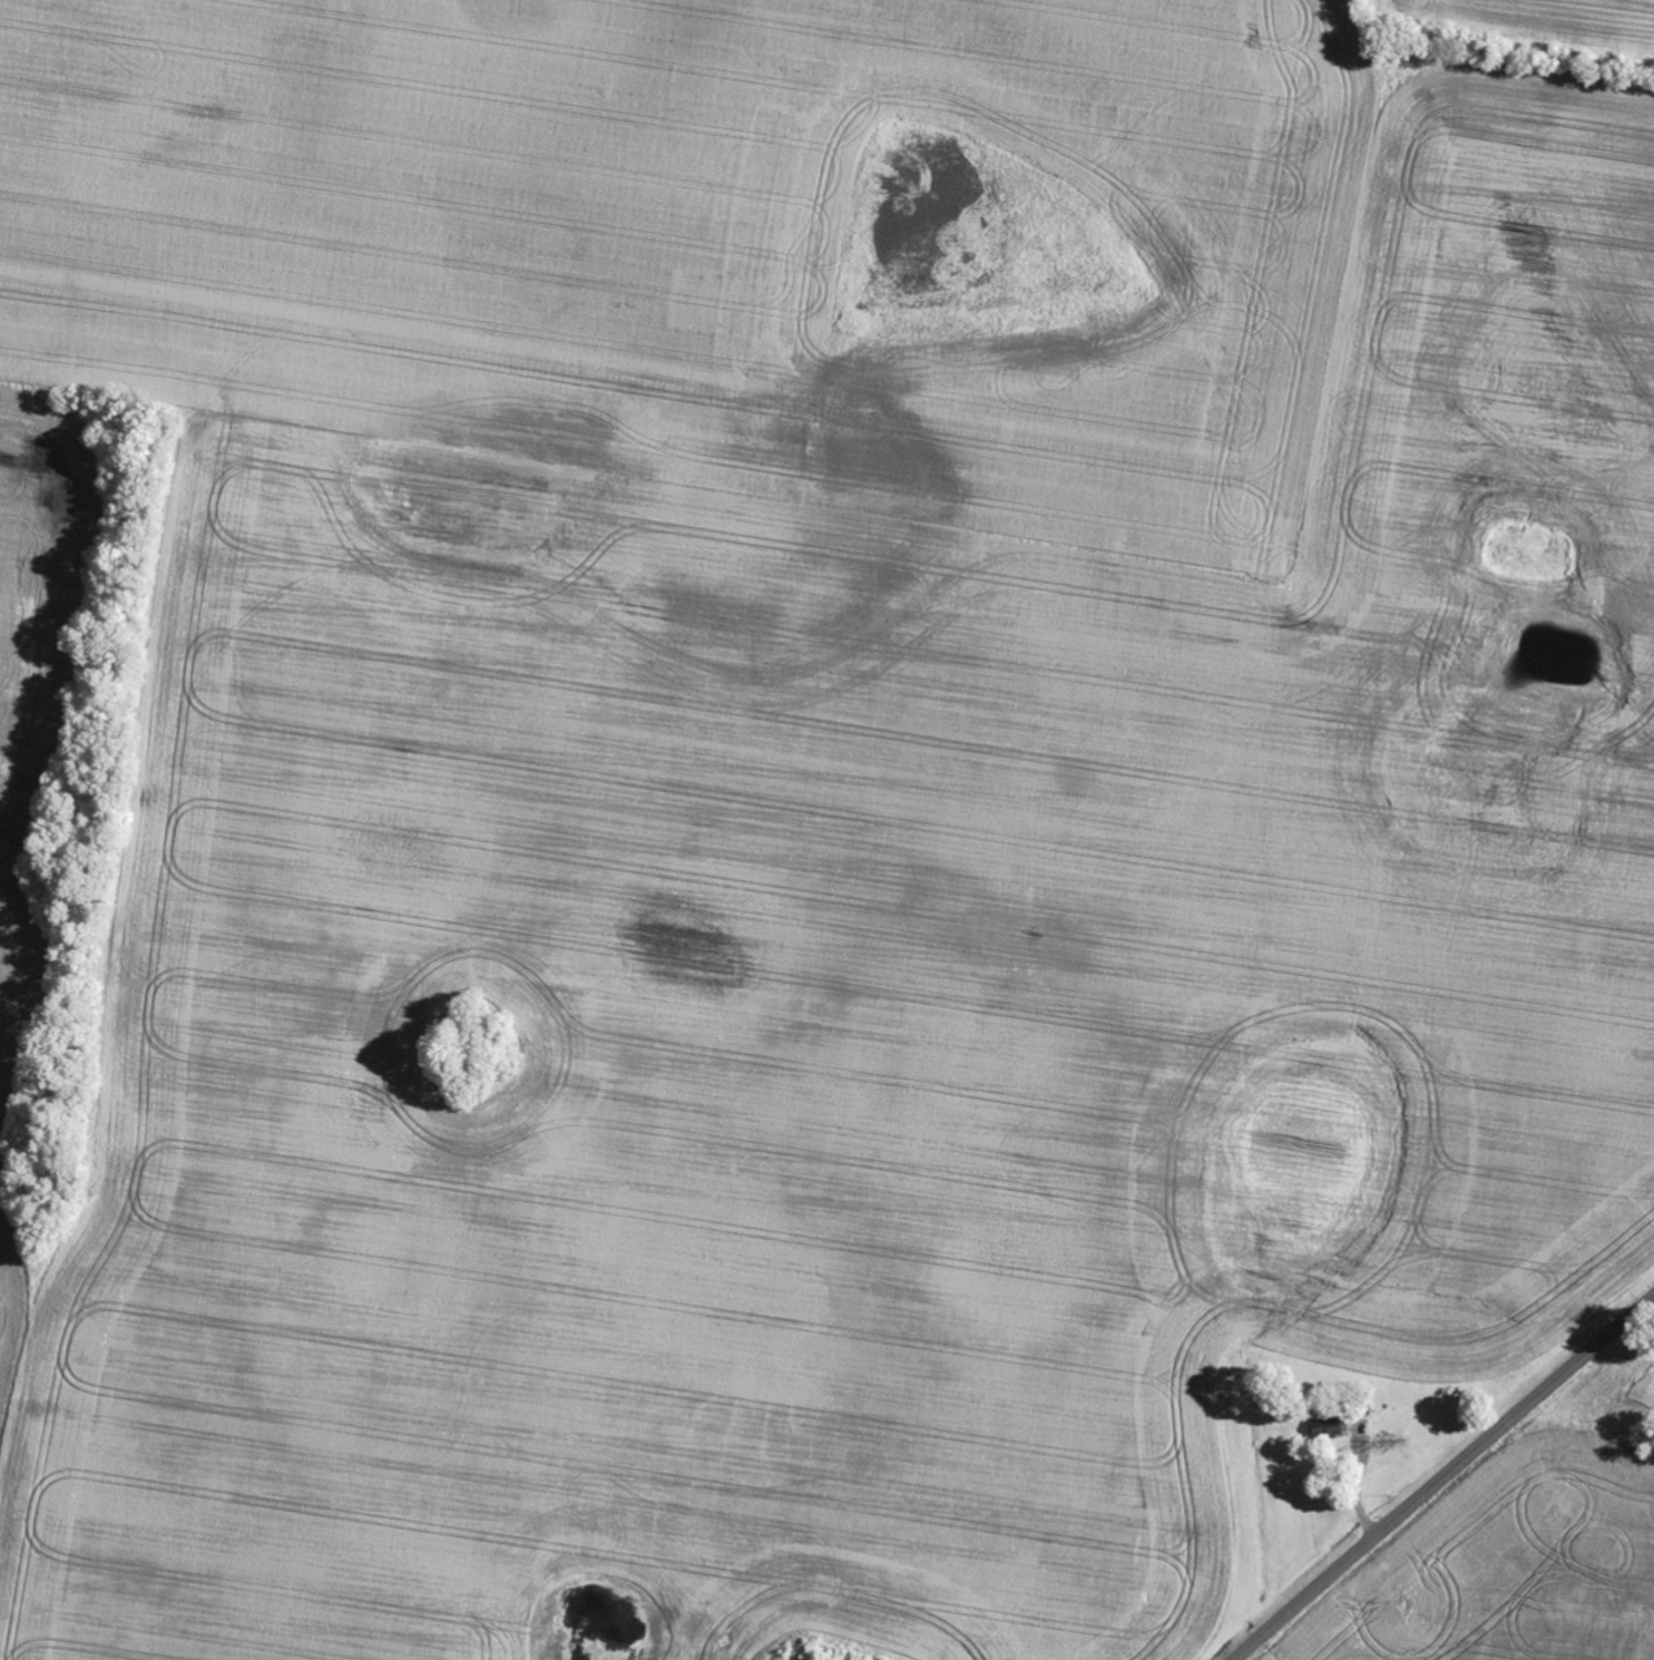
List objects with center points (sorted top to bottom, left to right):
road: (202, 46)
road: (1527, 48)
building: (1331, 1427)
road: (1443, 1477)

